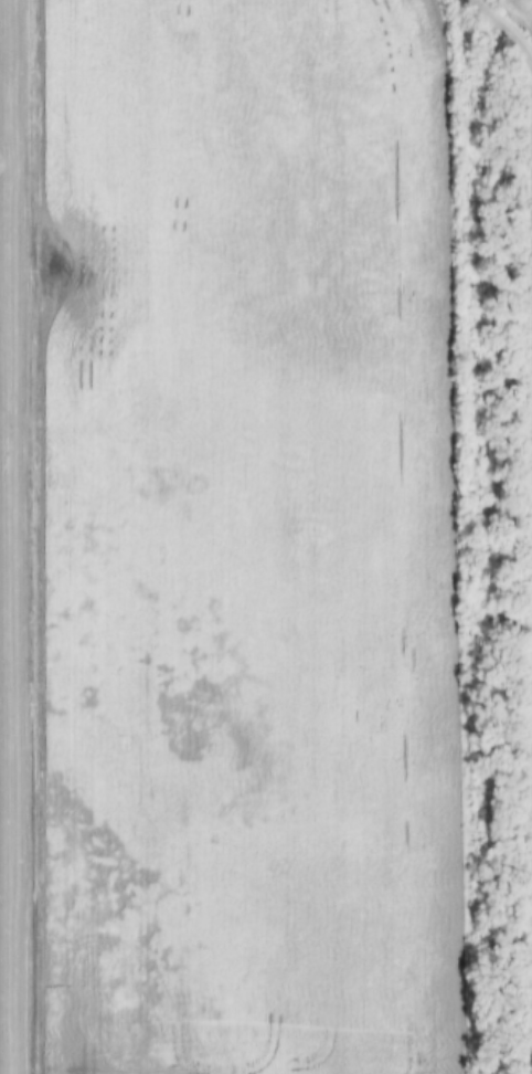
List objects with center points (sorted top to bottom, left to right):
road: (504, 27)

